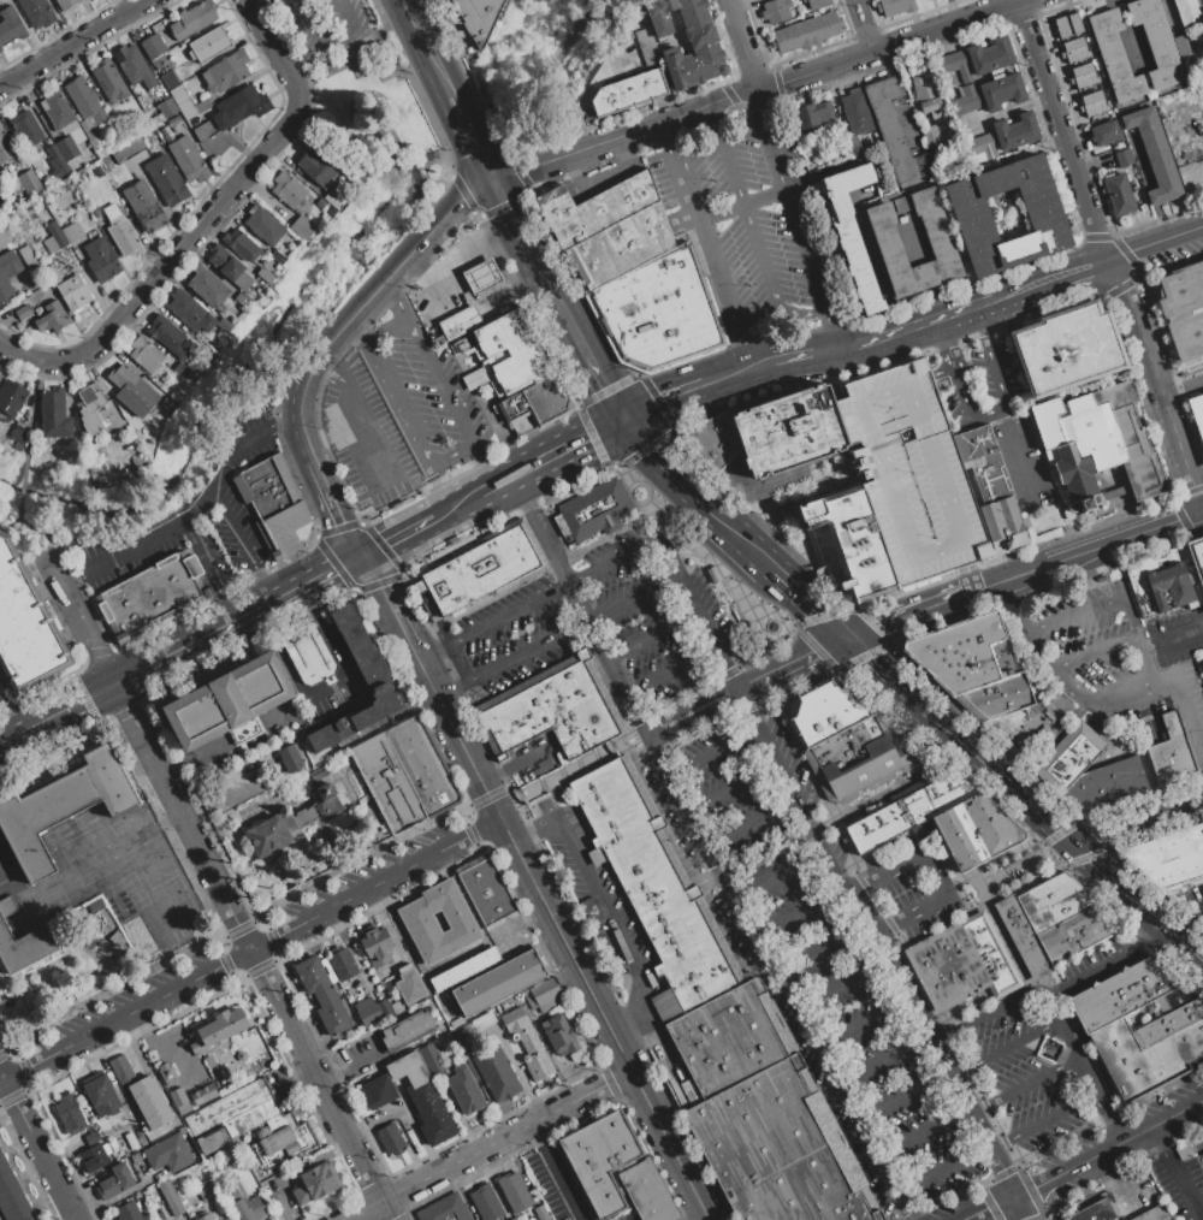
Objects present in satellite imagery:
building: (88, 0)
building: (91, 0)
building: (802, 0)
building: (66, 4)
building: (818, 4)
building: (895, 6)
building: (1186, 10)
building: (775, 11)
building: (37, 12)
road: (343, 13)
building: (478, 17)
building: (192, 19)
parking lot: (319, 22)
road: (302, 23)
road: (863, 24)
building: (10, 25)
building: (1067, 25)
road: (423, 32)
building: (806, 32)
road: (333, 36)
building: (1155, 42)
road: (75, 43)
building: (208, 43)
road: (741, 43)
building: (645, 45)
building: (152, 46)
building: (704, 46)
building: (1184, 46)
building: (1074, 51)
building: (1114, 55)
road: (357, 57)
building: (989, 57)
building: (954, 65)
building: (134, 66)
building: (226, 71)
building: (1083, 76)
building: (168, 79)
building: (109, 81)
road: (445, 81)
road: (752, 87)
building: (1001, 90)
building: (627, 93)
building: (925, 93)
building: (965, 99)
building: (188, 103)
building: (87, 105)
building: (1092, 105)
building: (239, 106)
building: (166, 108)
building: (857, 111)
building: (58, 112)
park: (362, 112)
building: (813, 114)
road: (462, 117)
road: (711, 117)
building: (155, 119)
building: (173, 120)
building: (26, 128)
building: (178, 128)
building: (203, 131)
building: (1015, 131)
building: (166, 132)
building: (893, 132)
building: (1104, 132)
building: (930, 135)
building: (77, 136)
road: (666, 136)
building: (6, 146)
building: (99, 146)
building: (67, 148)
building: (978, 148)
building: (126, 150)
building: (1154, 155)
building: (1122, 158)
building: (188, 159)
road: (481, 159)
building: (57, 161)
building: (316, 168)
building: (97, 172)
building: (166, 180)
building: (29, 182)
building: (0, 183)
building: (292, 193)
building: (1119, 194)
building: (337, 196)
building: (1, 199)
building: (321, 203)
building: (146, 206)
building: (594, 208)
road: (506, 209)
building: (111, 211)
building: (971, 214)
parking lot: (737, 218)
road: (800, 218)
road: (746, 219)
road: (203, 224)
building: (262, 226)
building: (304, 229)
building: (71, 231)
building: (852, 232)
building: (4, 235)
building: (124, 235)
building: (53, 237)
road: (704, 237)
building: (941, 241)
road: (1154, 243)
building: (239, 245)
building: (620, 245)
parking lot: (1174, 247)
road: (1104, 256)
building: (29, 257)
building: (101, 259)
building: (230, 268)
building: (8, 273)
road: (391, 273)
building: (265, 276)
building: (481, 276)
building: (53, 278)
road: (1050, 280)
building: (208, 285)
building: (73, 291)
road: (549, 291)
road: (398, 296)
building: (189, 310)
road: (804, 310)
building: (1183, 310)
building: (41, 312)
building: (657, 312)
building: (458, 322)
road: (984, 324)
building: (225, 325)
road: (920, 327)
road: (385, 331)
road: (355, 332)
building: (170, 336)
road: (943, 345)
road: (742, 347)
building: (1066, 348)
building: (514, 350)
building: (146, 354)
road: (810, 359)
building: (168, 362)
building: (180, 371)
building: (196, 371)
road: (321, 372)
road: (941, 372)
road: (747, 373)
road: (955, 374)
building: (0, 377)
building: (475, 378)
road: (440, 379)
road: (595, 380)
road: (712, 385)
building: (131, 390)
building: (11, 397)
building: (539, 399)
road: (660, 404)
road: (395, 405)
road: (1002, 407)
building: (91, 409)
building: (1197, 413)
building: (57, 415)
traffic signals: (620, 419)
road: (288, 422)
road: (302, 422)
building: (787, 432)
road: (366, 434)
building: (146, 440)
road: (575, 442)
building: (710, 444)
building: (1097, 445)
road: (250, 446)
road: (450, 454)
road: (1015, 456)
road: (486, 462)
building: (983, 462)
road: (662, 466)
road: (523, 470)
building: (908, 474)
road: (508, 479)
road: (439, 488)
road: (475, 496)
building: (274, 505)
road: (336, 511)
building: (594, 513)
road: (443, 515)
road: (173, 519)
building: (1002, 525)
road: (541, 528)
road: (230, 531)
road: (1124, 538)
road: (396, 539)
road: (741, 541)
building: (851, 541)
road: (628, 551)
building: (1196, 558)
traffic signals: (360, 559)
road: (212, 567)
road: (91, 568)
building: (481, 568)
road: (1005, 579)
road: (66, 580)
building: (1171, 586)
road: (266, 587)
road: (632, 593)
building: (153, 596)
road: (288, 596)
road: (575, 600)
road: (384, 603)
road: (807, 604)
road: (1074, 609)
road: (902, 614)
road: (1131, 615)
road: (503, 616)
parking lot: (605, 621)
fountain: (771, 623)
road: (710, 627)
building: (19, 635)
traffic signals: (842, 635)
road: (1173, 636)
road: (518, 651)
building: (958, 651)
road: (1100, 651)
building: (308, 653)
road: (338, 655)
road: (427, 655)
building: (365, 656)
road: (790, 661)
road: (1150, 661)
road: (872, 663)
building: (1202, 665)
road: (614, 676)
road: (107, 688)
road: (444, 688)
building: (997, 695)
building: (229, 701)
road: (1088, 701)
road: (689, 704)
building: (558, 710)
building: (824, 711)
road: (694, 717)
road: (1189, 719)
building: (1021, 726)
road: (136, 728)
road: (219, 742)
road: (711, 751)
building: (1169, 751)
building: (1071, 757)
building: (290, 758)
building: (855, 759)
road: (988, 768)
road: (569, 771)
building: (404, 774)
building: (1106, 784)
road: (731, 789)
road: (214, 790)
building: (327, 800)
road: (870, 800)
building: (61, 809)
building: (907, 810)
building: (306, 816)
road: (1137, 819)
road: (749, 825)
building: (974, 830)
building: (271, 833)
traffic signals: (1073, 843)
building: (1169, 857)
road: (912, 864)
road: (1012, 872)
road: (778, 877)
road: (377, 884)
road: (1119, 886)
building: (486, 890)
parking lot: (1187, 899)
road: (605, 910)
road: (914, 912)
road: (801, 913)
building: (1063, 917)
building: (419, 920)
road: (1184, 920)
road: (1167, 931)
building: (135, 932)
road: (561, 932)
building: (681, 936)
road: (883, 937)
building: (1021, 937)
building: (20, 942)
building: (375, 946)
road: (824, 947)
road: (251, 949)
road: (1186, 949)
parking lot: (818, 958)
road: (273, 960)
building: (960, 961)
building: (343, 965)
road: (1107, 965)
building: (463, 969)
road: (776, 976)
road: (845, 982)
building: (499, 983)
building: (409, 984)
building: (322, 993)
building: (1120, 993)
building: (543, 995)
building: (384, 1007)
building: (397, 1007)
building: (367, 1012)
road: (988, 1013)
road: (126, 1014)
road: (863, 1018)
building: (484, 1020)
building: (215, 1029)
building: (407, 1030)
building: (558, 1035)
building: (1152, 1041)
building: (527, 1042)
road: (1071, 1043)
road: (1006, 1048)
building: (432, 1059)
road: (883, 1059)
building: (197, 1066)
building: (212, 1068)
parking lot: (1030, 1068)
building: (497, 1072)
building: (167, 1073)
road: (0, 1079)
road: (1023, 1080)
building: (464, 1090)
building: (378, 1091)
road: (901, 1091)
building: (202, 1092)
building: (101, 1094)
building: (141, 1094)
building: (177, 1095)
building: (422, 1097)
road: (12, 1100)
building: (184, 1108)
road: (333, 1108)
building: (69, 1113)
road: (1109, 1117)
road: (1196, 1118)
road: (1043, 1120)
building: (249, 1125)
road: (1138, 1133)
road: (921, 1135)
building: (91, 1138)
building: (390, 1139)
building: (131, 1141)
road: (488, 1145)
building: (777, 1148)
building: (168, 1154)
building: (94, 1157)
building: (599, 1160)
road: (49, 1172)
road: (941, 1172)
road: (1173, 1173)
road: (1044, 1180)
building: (115, 1181)
building: (315, 1183)
parking lot: (552, 1183)
parking lot: (1178, 1184)
building: (206, 1189)
building: (647, 1190)
building: (268, 1191)
building: (515, 1191)
building: (12, 1196)
building: (171, 1197)
building: (485, 1202)
building: (244, 1204)
road: (991, 1208)
road: (1020, 1208)
building: (221, 1209)
building: (443, 1209)
building: (128, 1212)
building: (1091, 1212)
building: (539, 1213)
building: (1152, 1214)
building: (203, 1216)
parking lot: (623, 1216)
building: (512, 1219)

